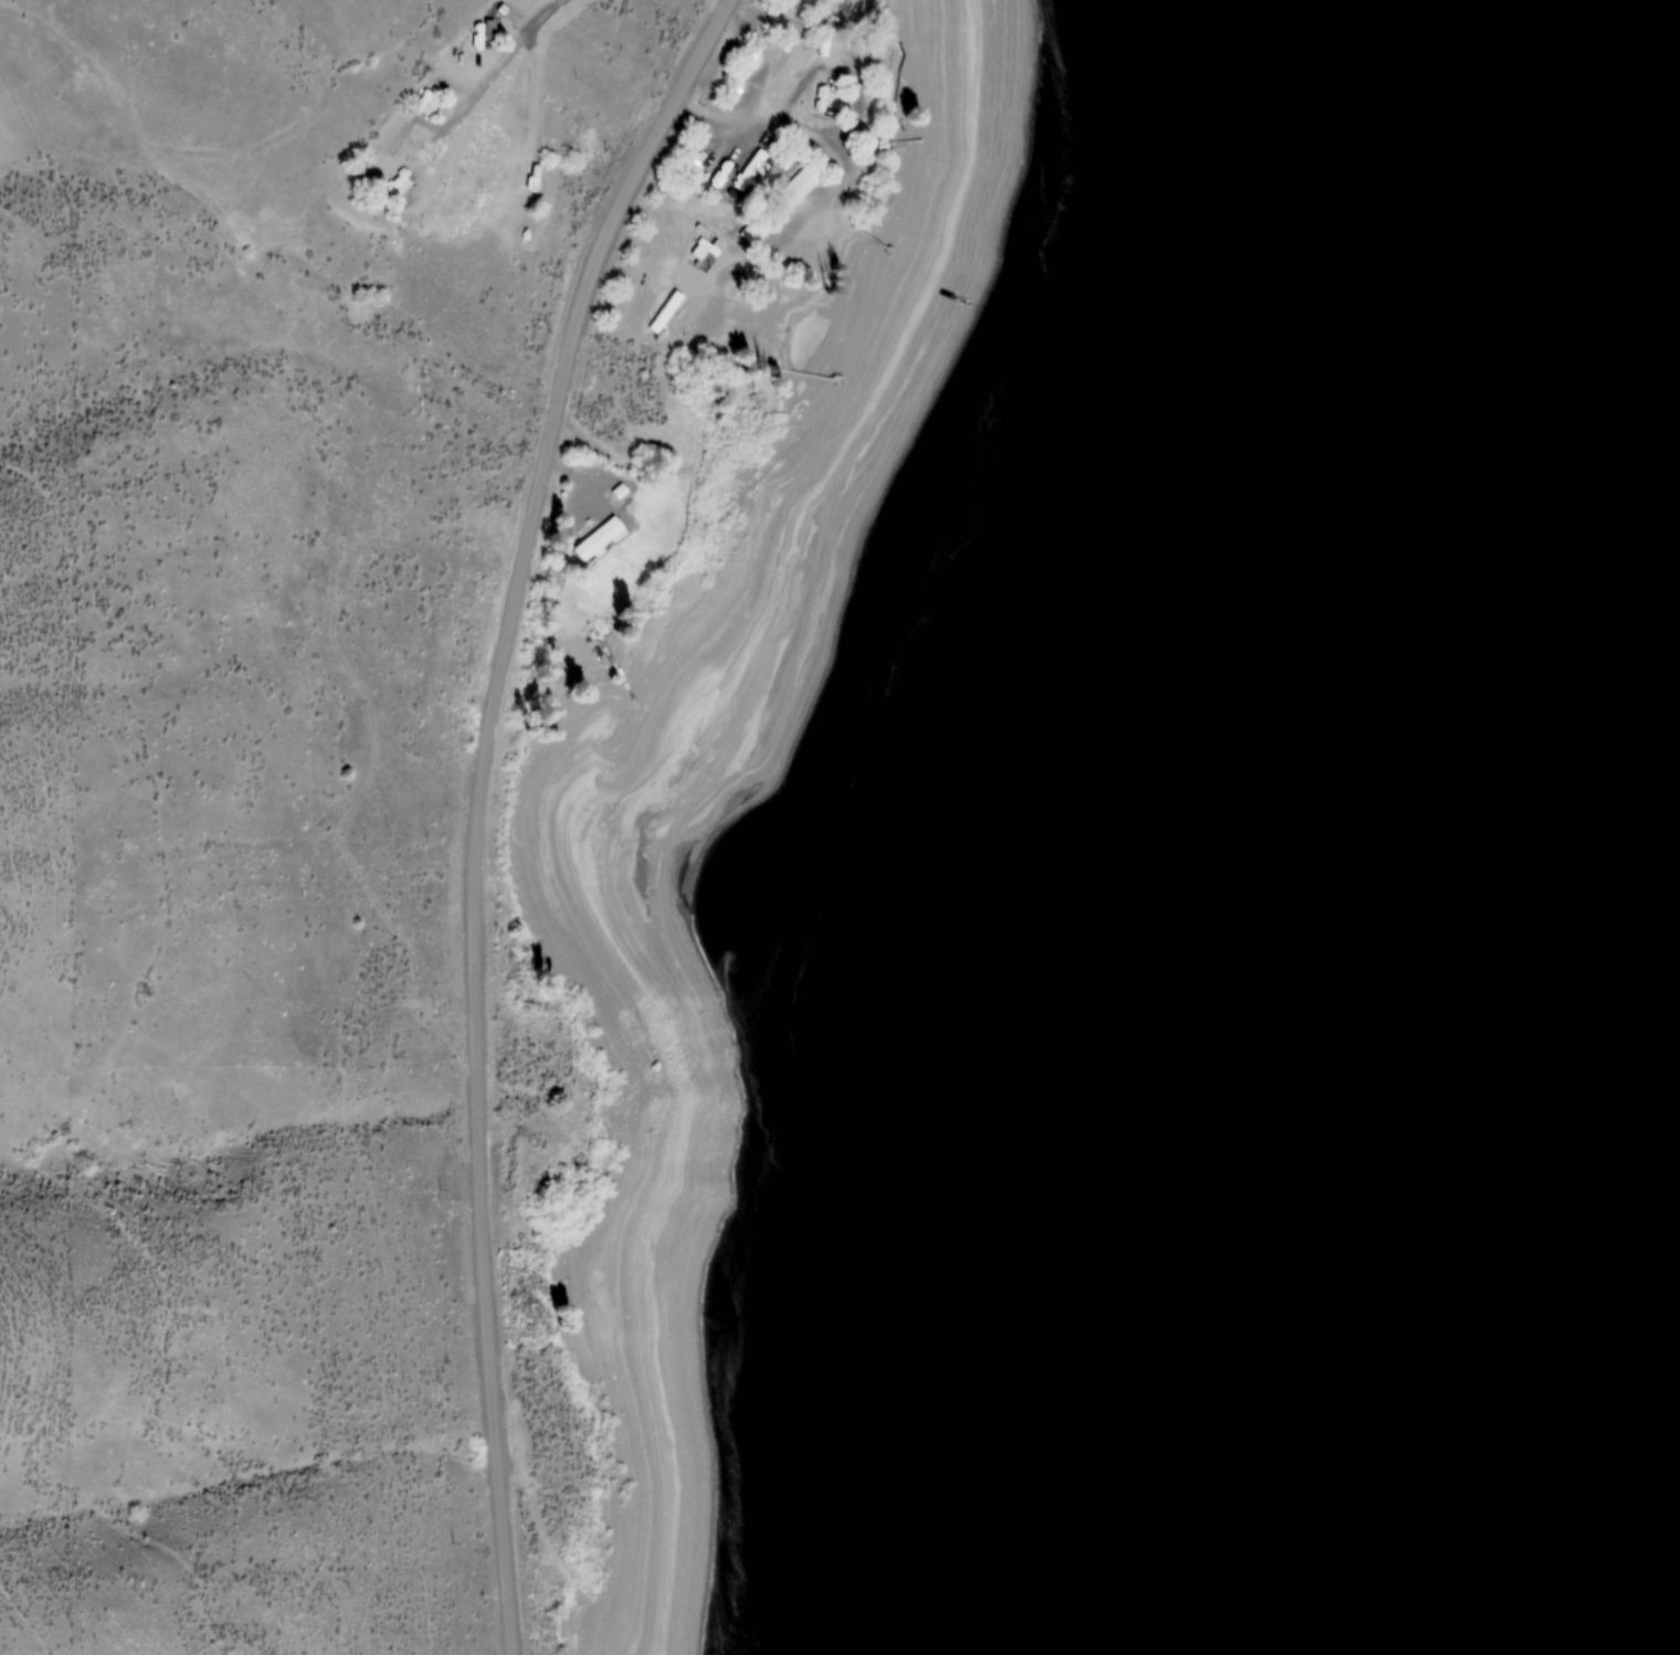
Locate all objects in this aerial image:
road: (721, 3)
building: (487, 35)
road: (487, 83)
road: (532, 98)
building: (831, 99)
building: (432, 104)
road: (767, 123)
building: (866, 144)
building: (694, 164)
building: (751, 173)
building: (719, 175)
building: (402, 183)
building: (780, 205)
building: (596, 539)
road: (477, 804)

